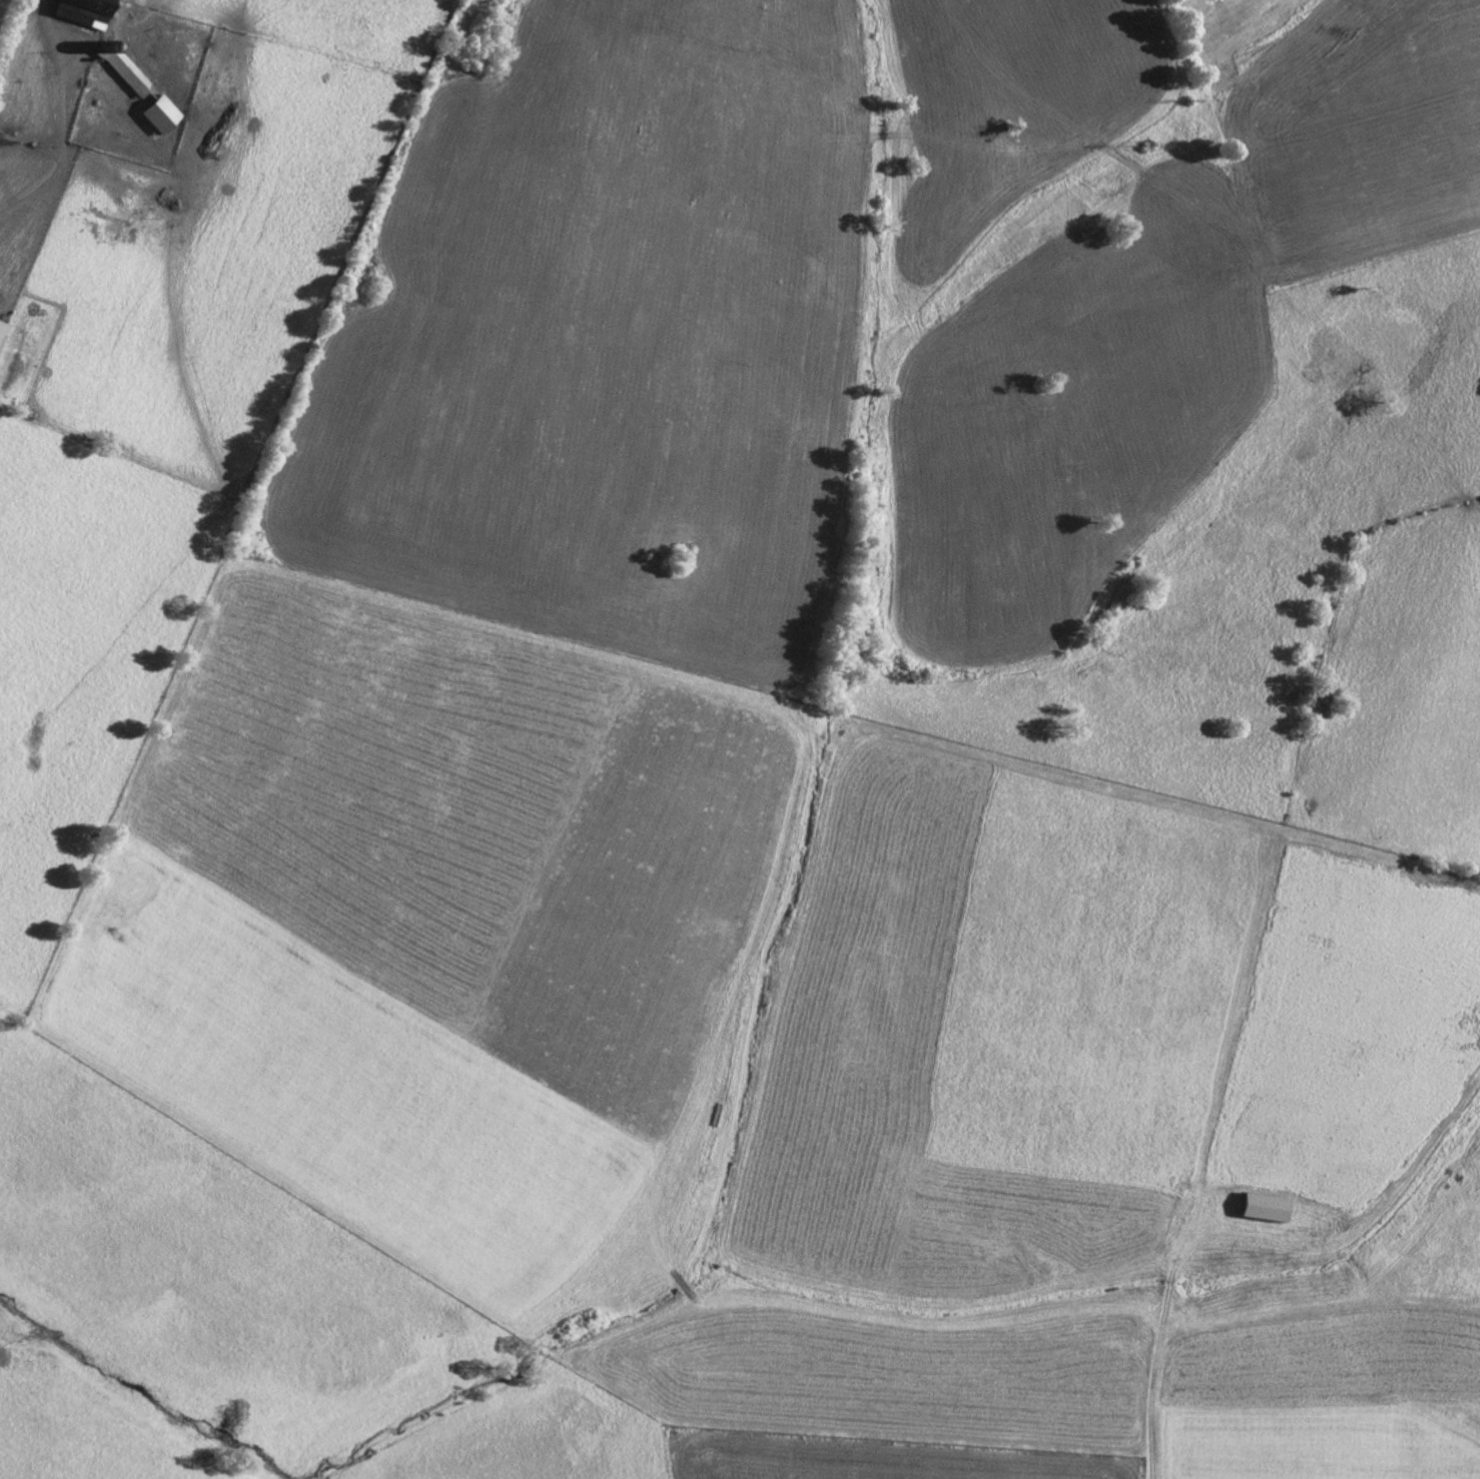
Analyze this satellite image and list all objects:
building: (85, 12)
building: (126, 70)
building: (162, 116)
building: (2, 329)
building: (1266, 1208)

